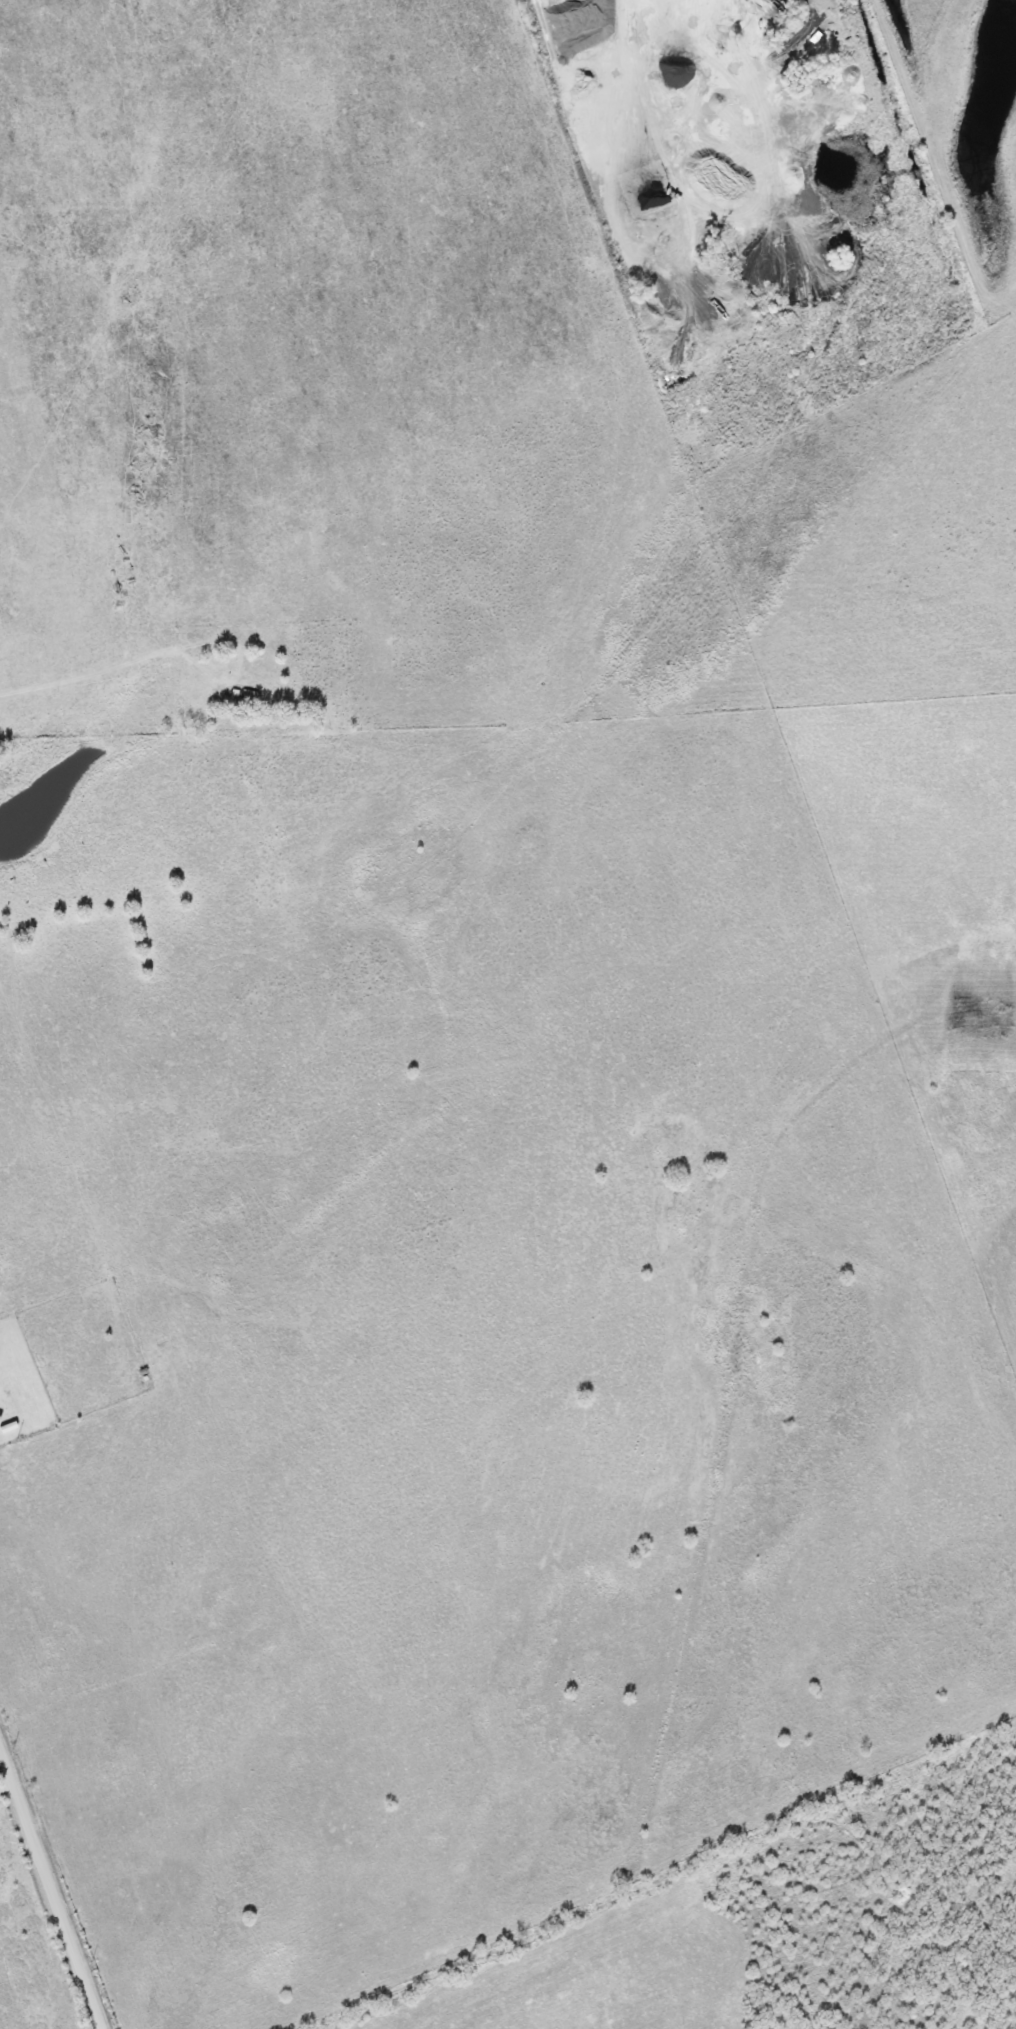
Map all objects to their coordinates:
road: (6, 1786)
road: (50, 1890)

